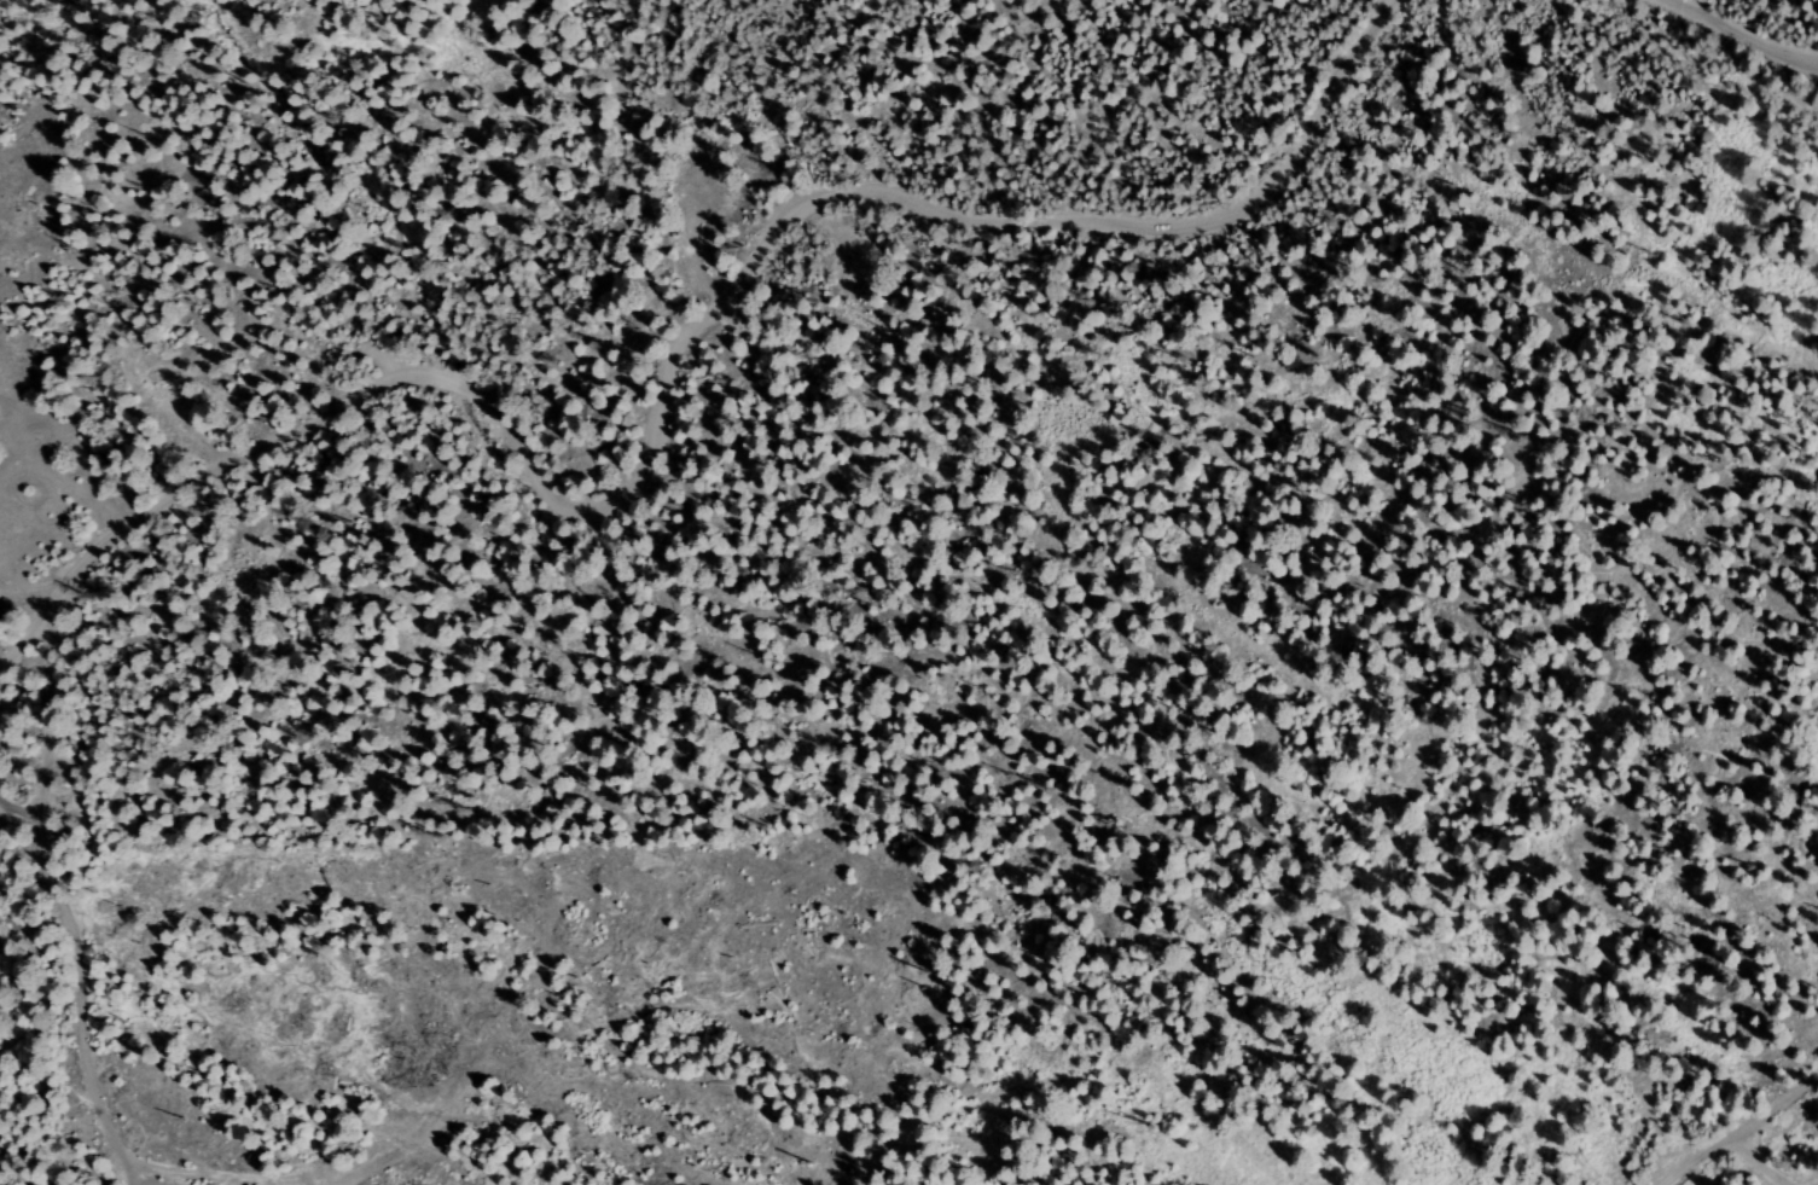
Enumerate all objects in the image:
road: (1739, 34)
road: (670, 373)
road: (59, 908)
road: (1741, 1129)
road: (1758, 1161)

